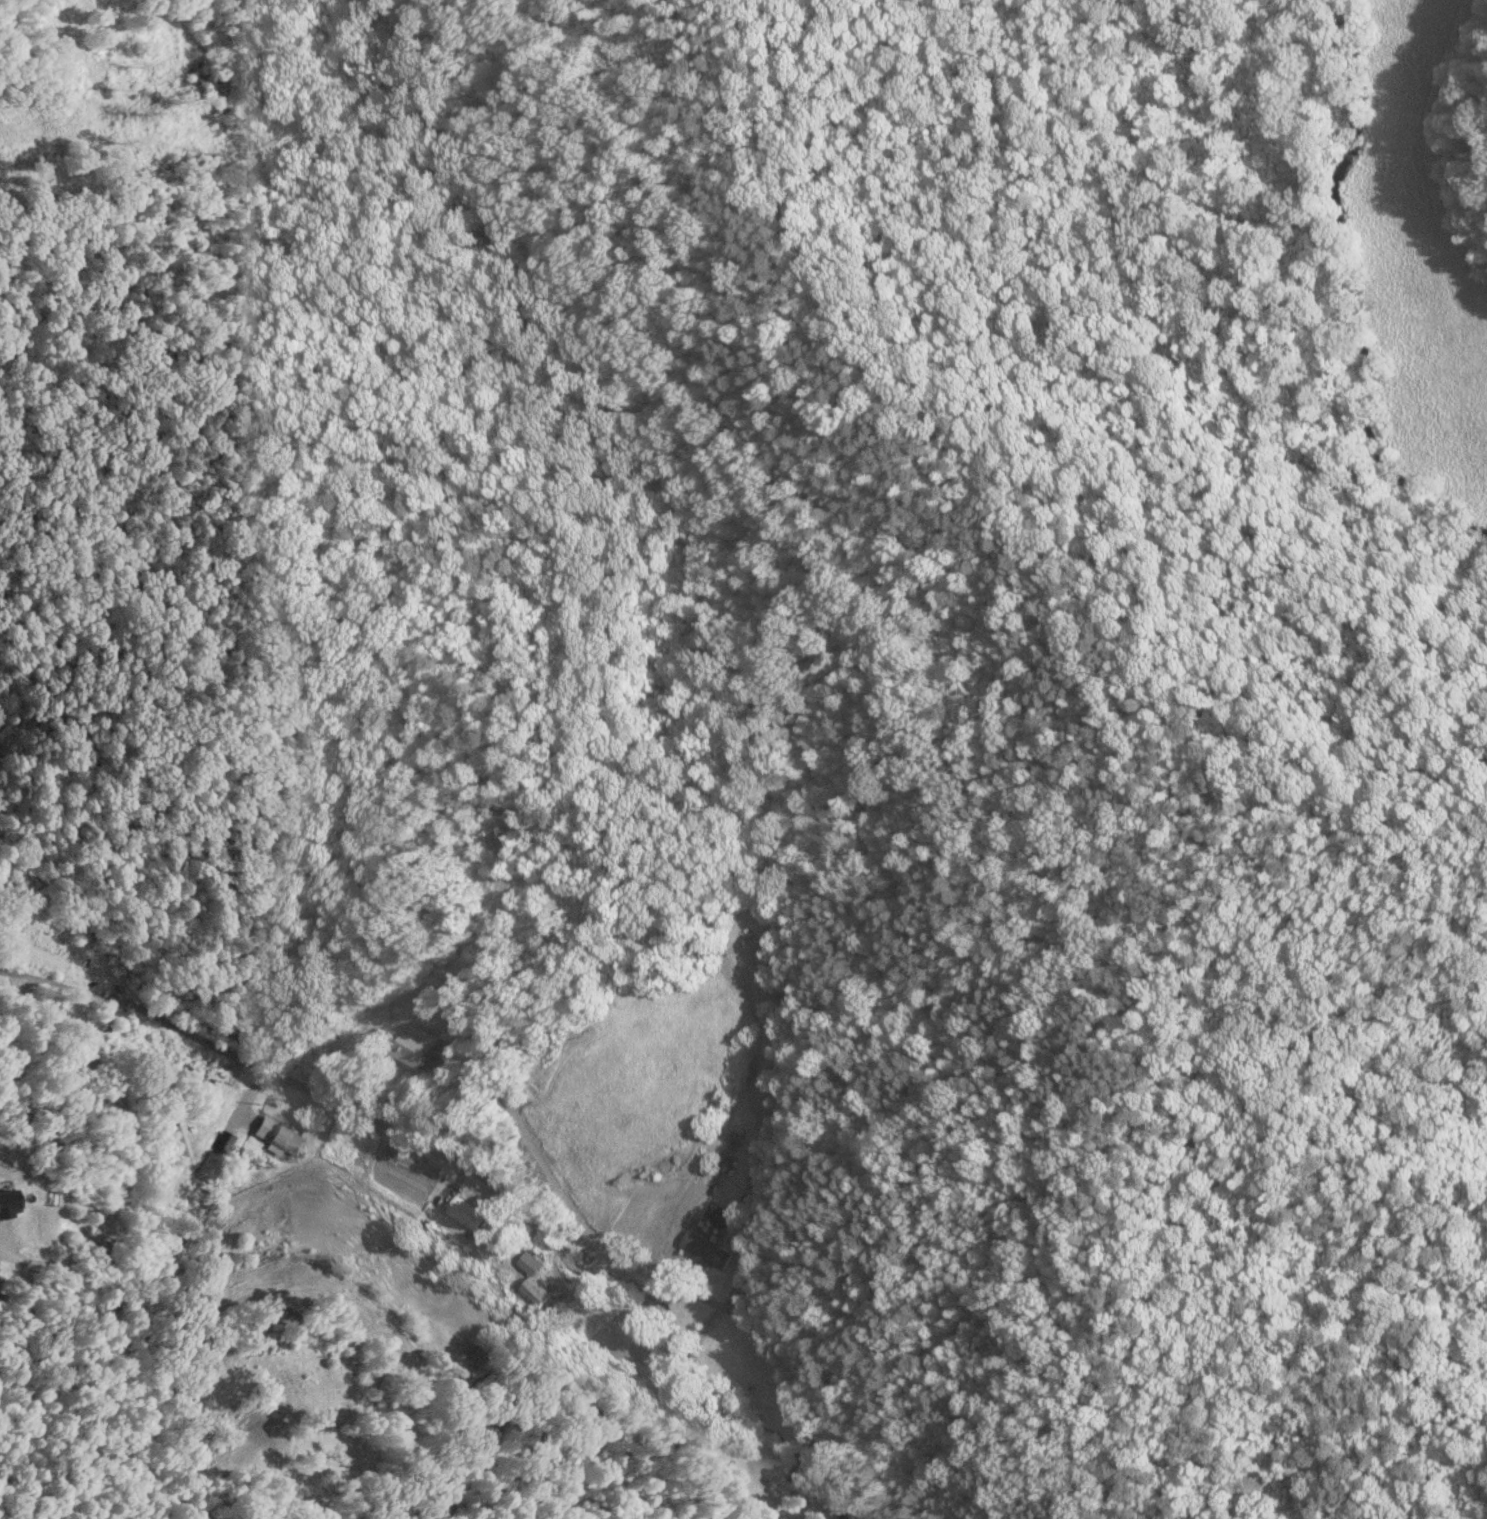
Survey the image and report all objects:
building: (495, 840)
building: (412, 1047)
building: (272, 1135)
road: (481, 1176)
road: (553, 1180)
building: (465, 1214)
building: (704, 1252)
building: (535, 1295)
building: (745, 1302)
building: (784, 1518)

